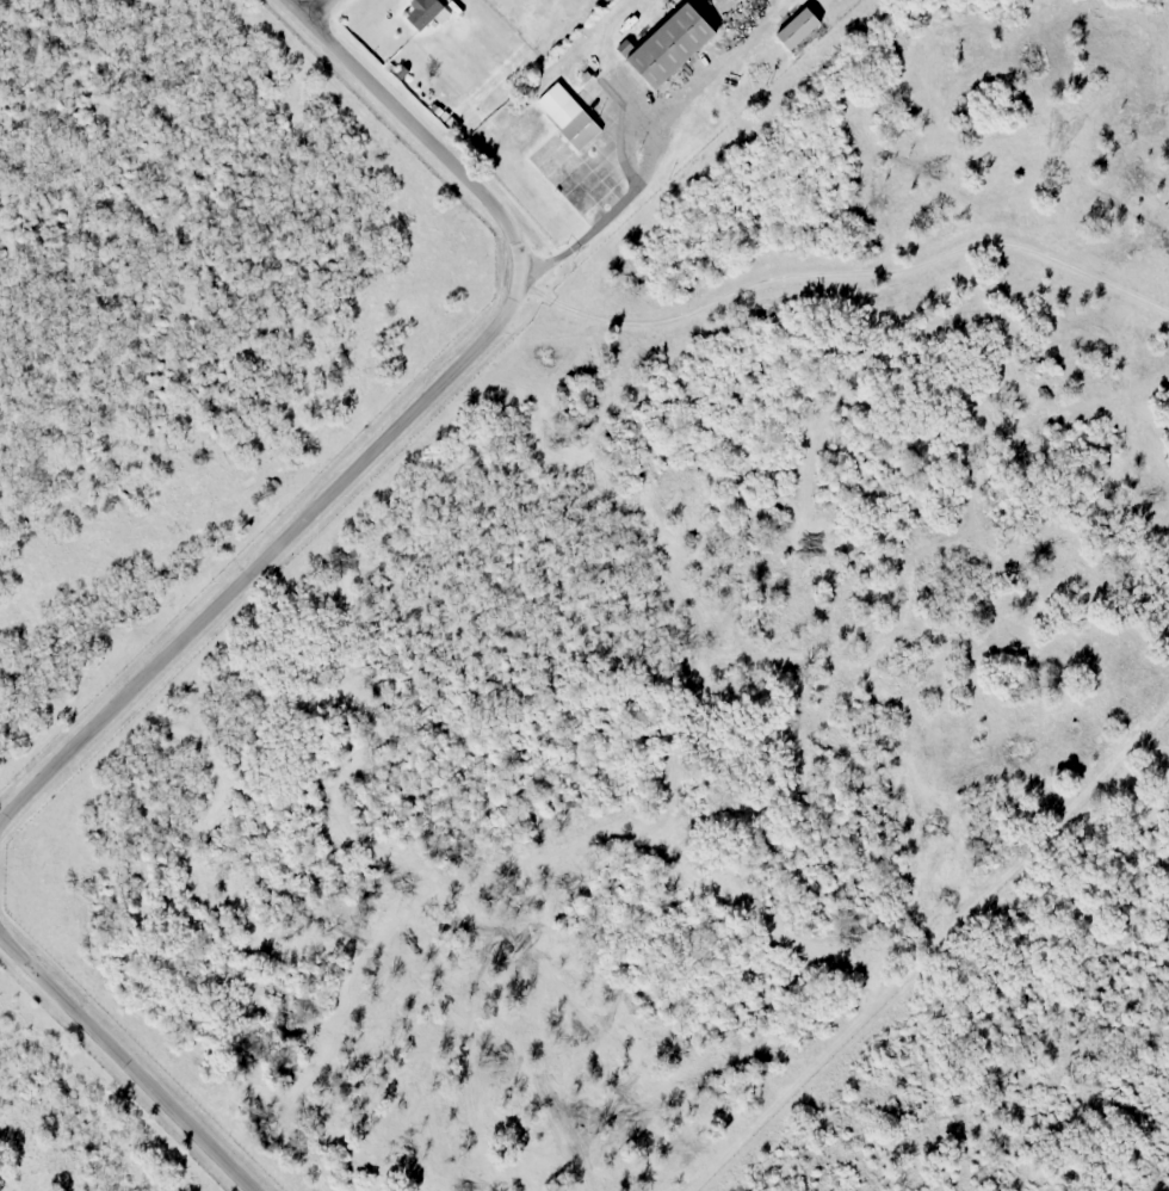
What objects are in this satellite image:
road: (316, 6)
building: (426, 12)
building: (797, 27)
building: (670, 44)
building: (568, 116)
road: (614, 216)
road: (845, 272)
road: (397, 427)
road: (130, 1057)

